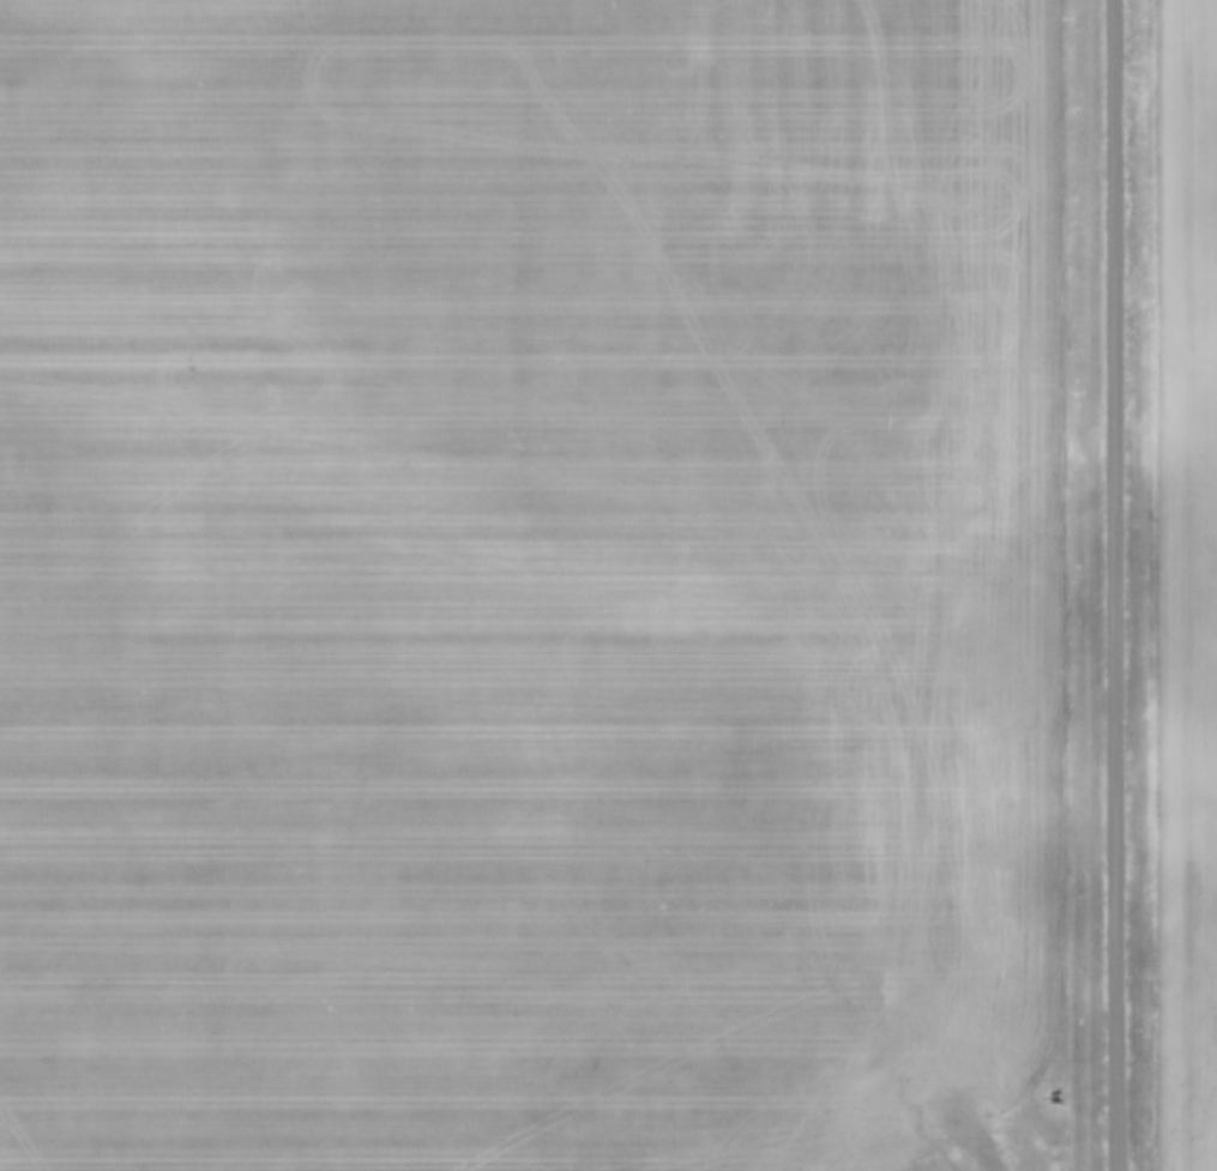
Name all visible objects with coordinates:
road: (1119, 585)

